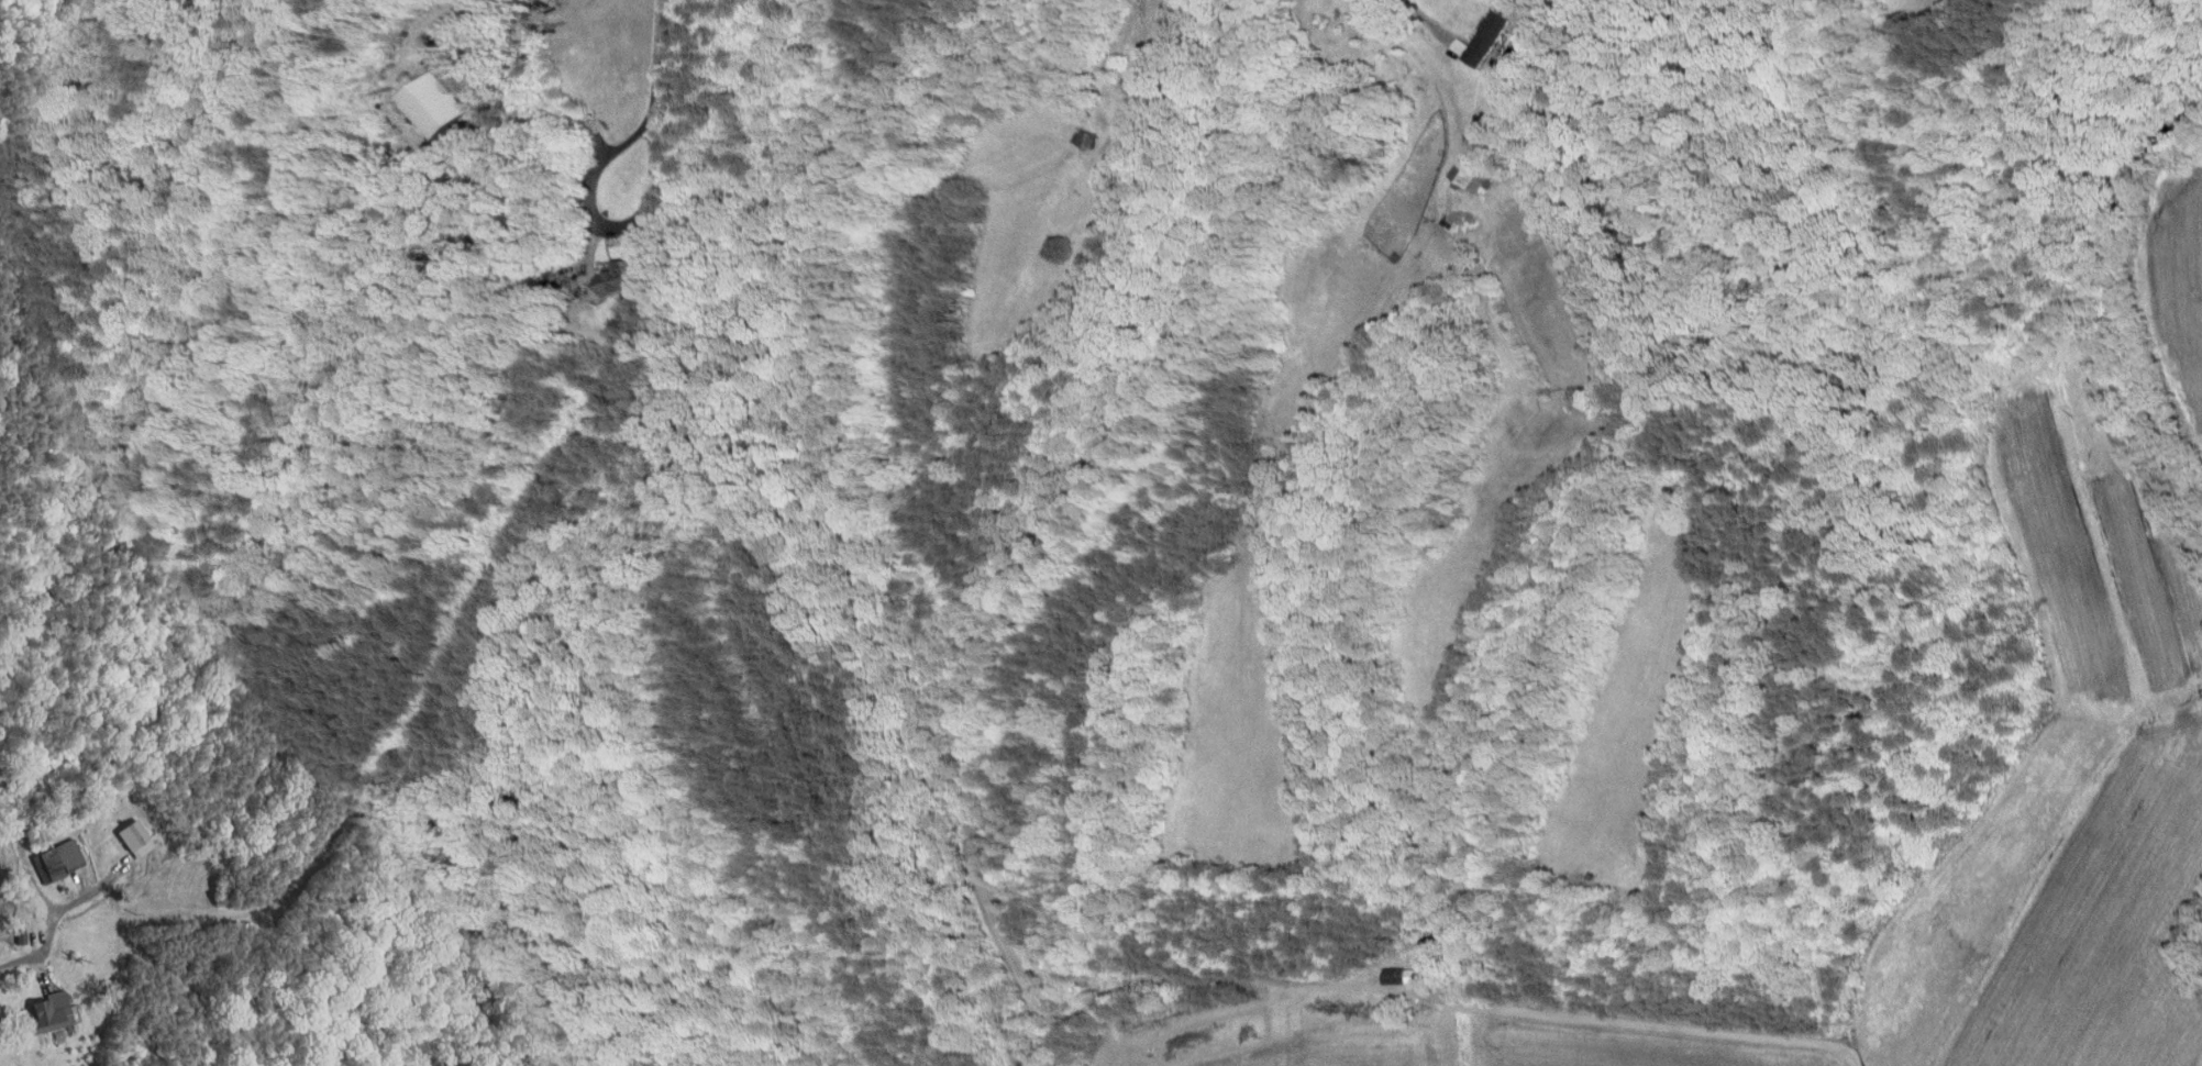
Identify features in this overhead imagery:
road: (1429, 29)
building: (1463, 32)
road: (657, 56)
building: (419, 99)
building: (1449, 169)
road: (604, 226)
building: (605, 273)
building: (126, 831)
building: (46, 853)
road: (46, 907)
building: (1394, 969)
building: (1408, 976)
building: (42, 1004)

